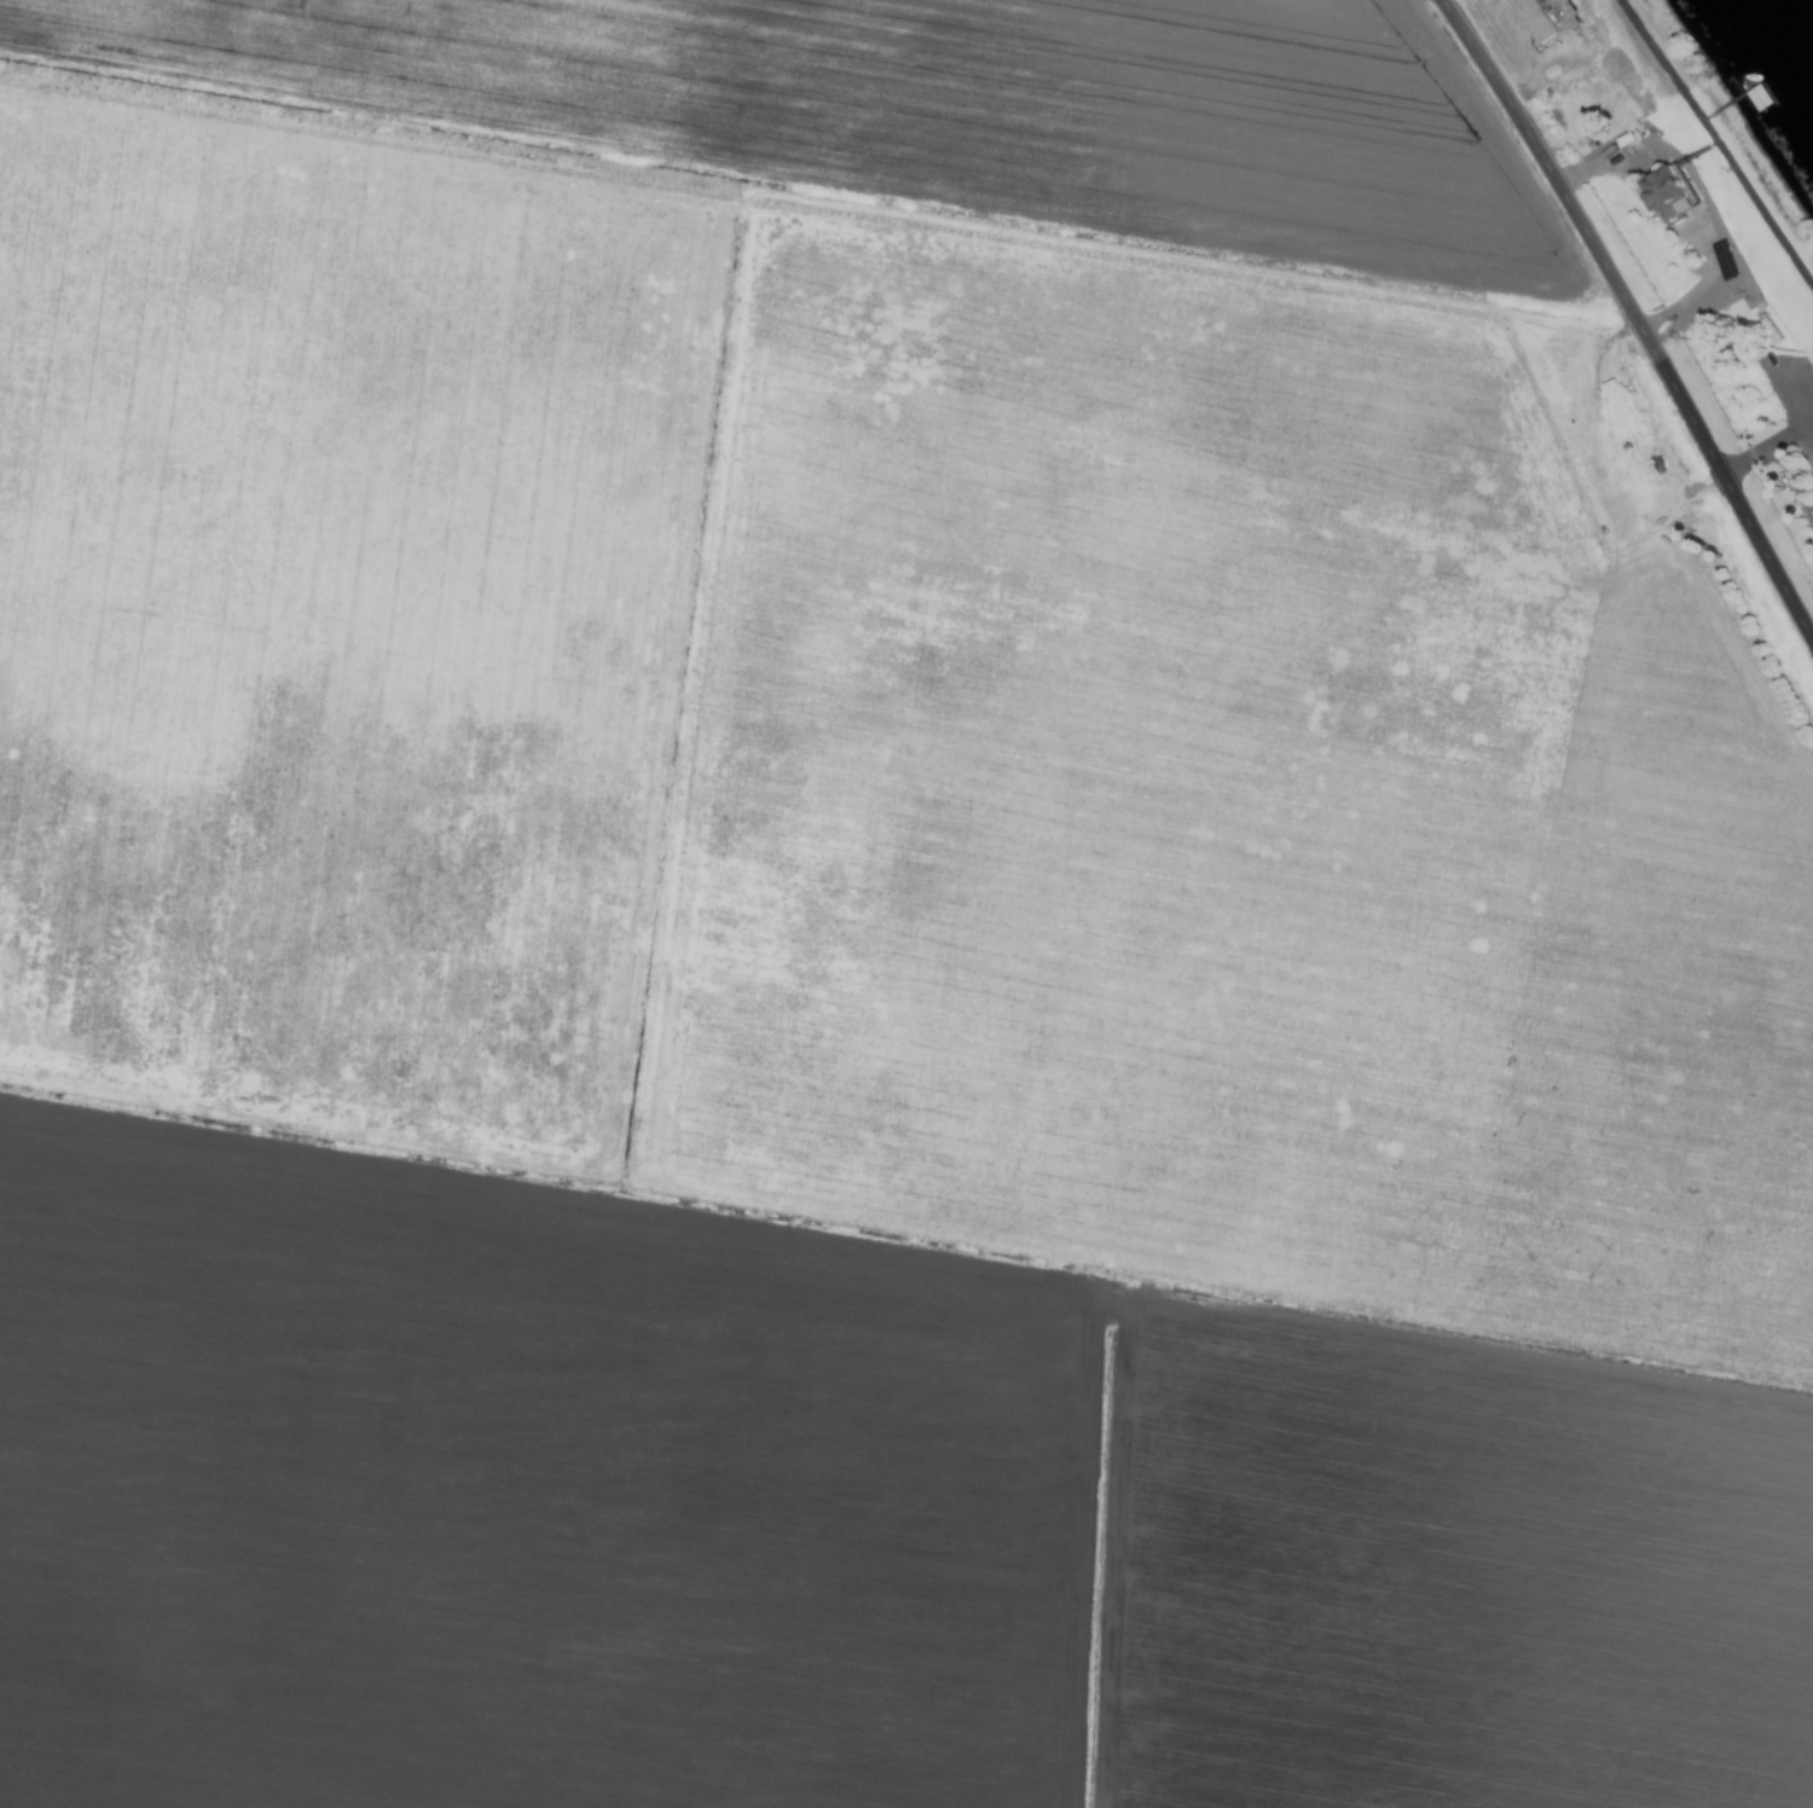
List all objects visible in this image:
building: (1537, 17)
building: (1659, 195)
road: (1696, 285)
road: (1635, 317)
road: (1779, 462)
crop: (867, 935)

